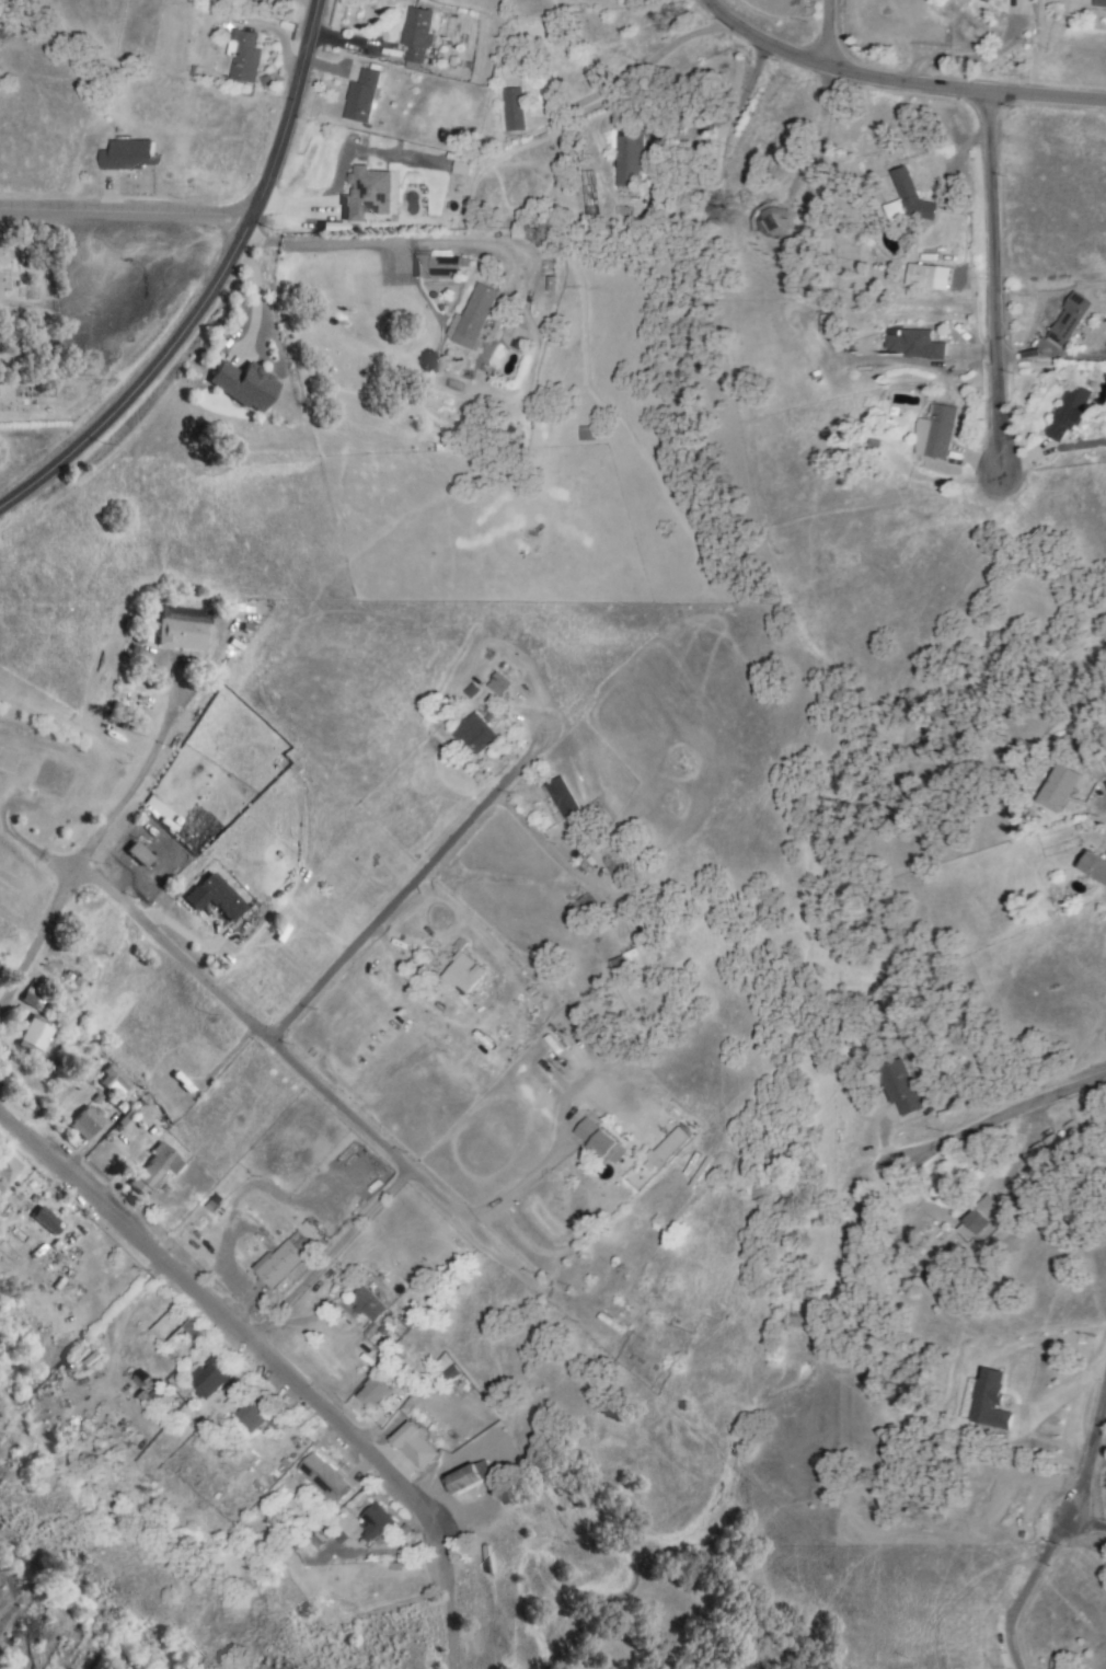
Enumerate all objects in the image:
building: (986, 0)
building: (1101, 0)
road: (828, 33)
building: (418, 36)
building: (245, 57)
road: (959, 57)
road: (632, 67)
road: (898, 79)
building: (362, 95)
building: (514, 110)
building: (130, 154)
building: (629, 159)
building: (368, 194)
building: (908, 200)
building: (951, 202)
road: (126, 211)
building: (777, 222)
road: (371, 243)
building: (447, 267)
road: (994, 274)
building: (922, 277)
road: (214, 289)
building: (473, 318)
building: (1071, 320)
building: (914, 345)
building: (241, 383)
building: (1070, 412)
building: (936, 433)
building: (185, 629)
building: (500, 683)
building: (475, 734)
road: (141, 774)
building: (54, 775)
building: (1060, 787)
building: (563, 797)
road: (548, 847)
building: (141, 854)
building: (1094, 865)
road: (117, 895)
building: (216, 897)
road: (401, 897)
building: (635, 960)
building: (464, 974)
building: (36, 1035)
building: (117, 1079)
building: (901, 1087)
road: (1003, 1115)
building: (88, 1123)
building: (599, 1142)
building: (1052, 1146)
building: (668, 1148)
road: (406, 1166)
building: (155, 1171)
building: (7, 1172)
road: (515, 1184)
building: (980, 1217)
building: (47, 1219)
road: (331, 1255)
building: (284, 1262)
building: (369, 1304)
building: (196, 1327)
building: (90, 1354)
road: (275, 1363)
building: (210, 1379)
building: (377, 1392)
road: (1061, 1392)
building: (987, 1401)
building: (253, 1415)
building: (416, 1447)
road: (1087, 1455)
building: (473, 1477)
building: (325, 1478)
building: (376, 1521)
road: (1024, 1587)

